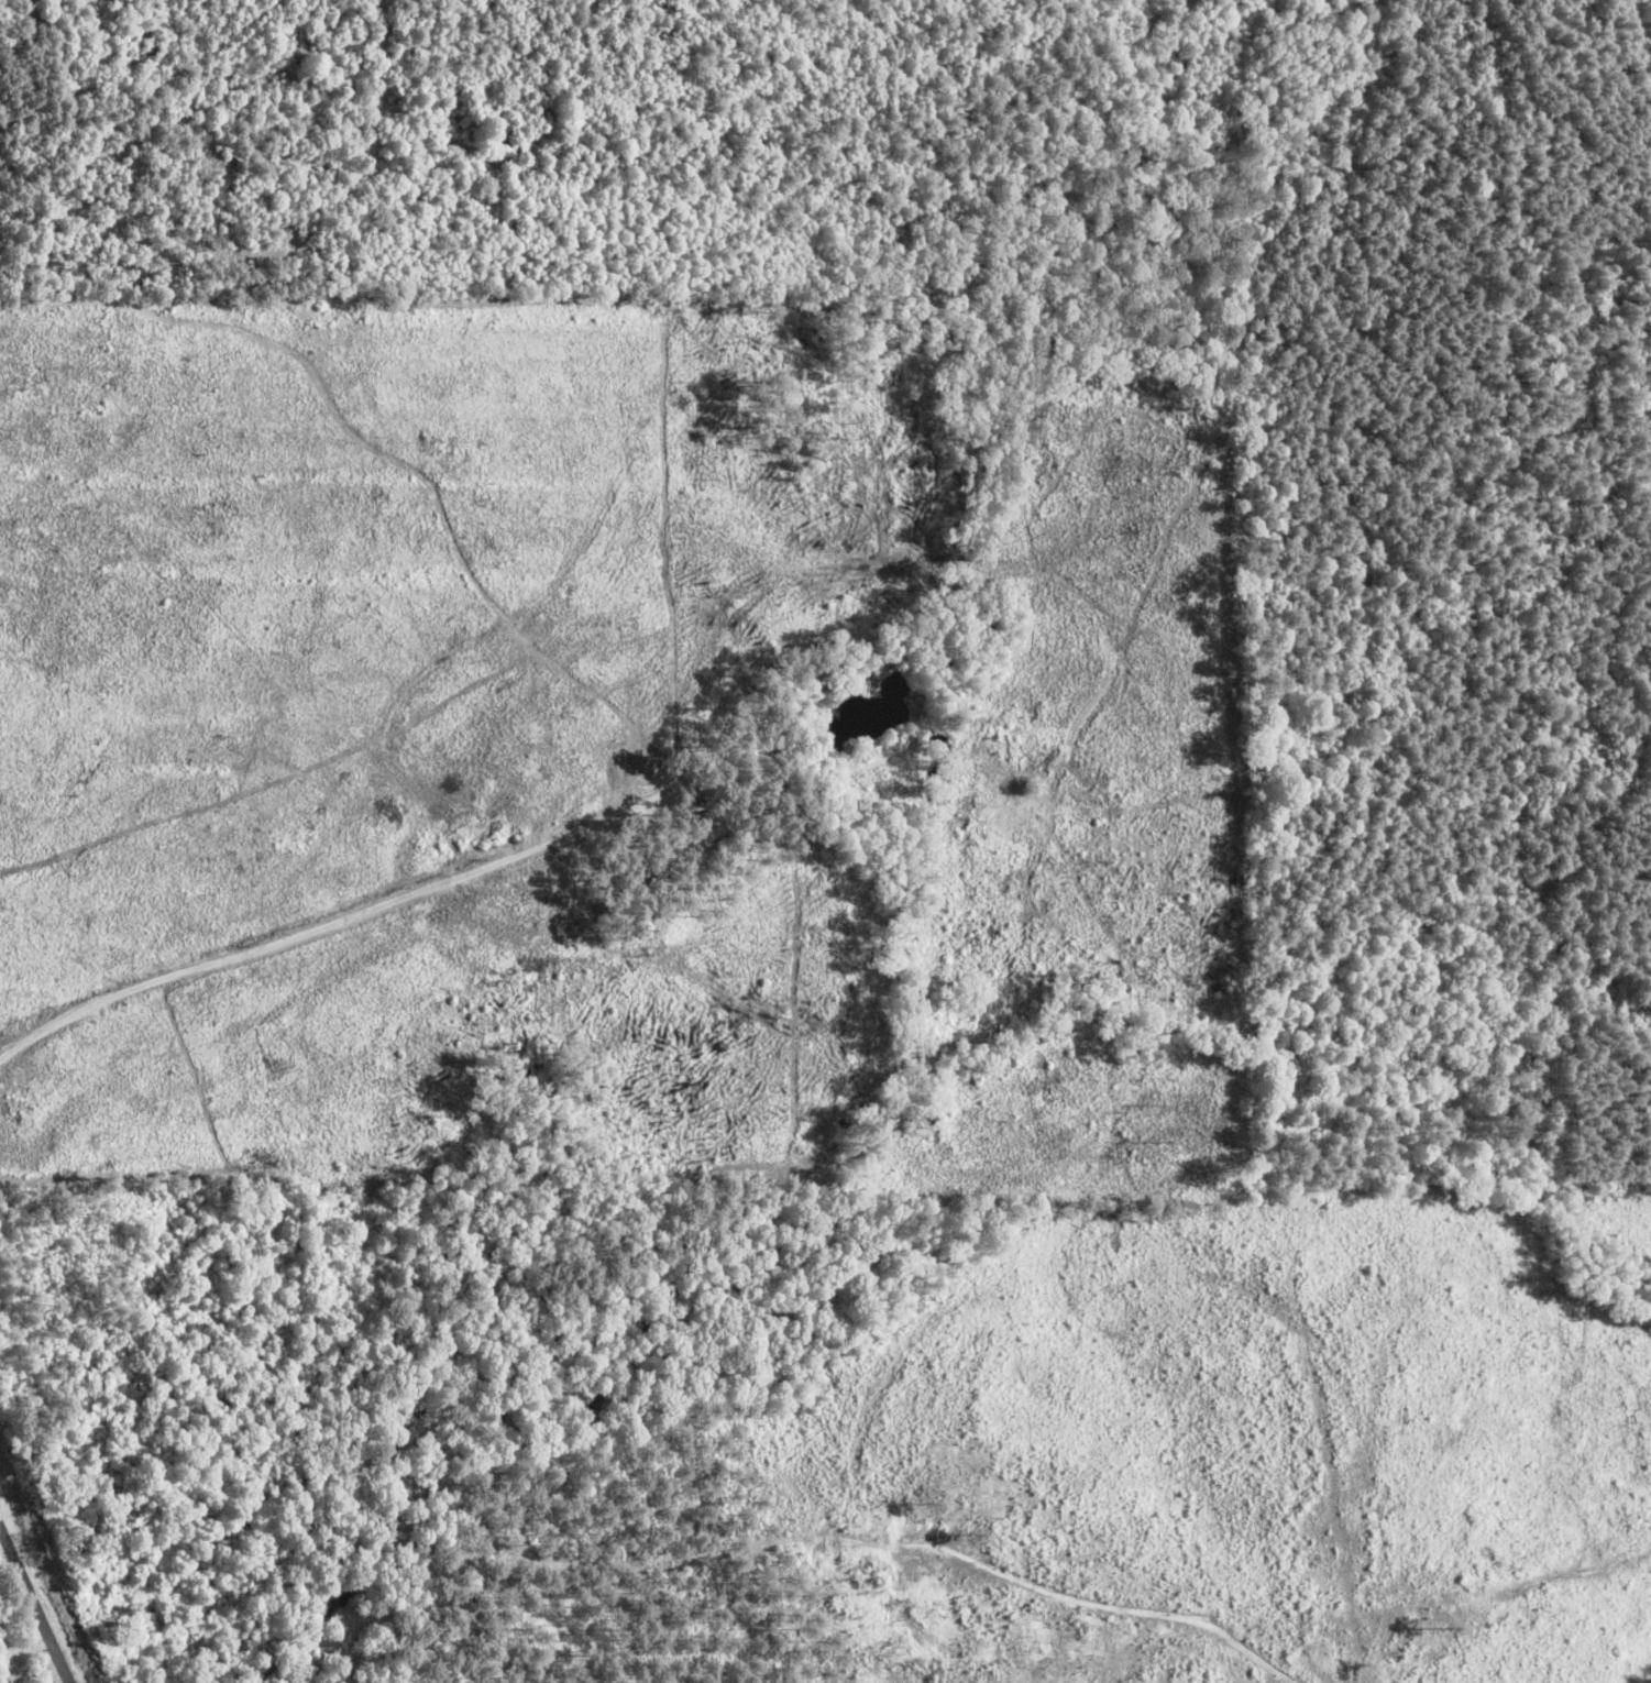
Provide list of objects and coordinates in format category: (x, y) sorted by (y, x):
building: (706, 827)
road: (33, 1607)

